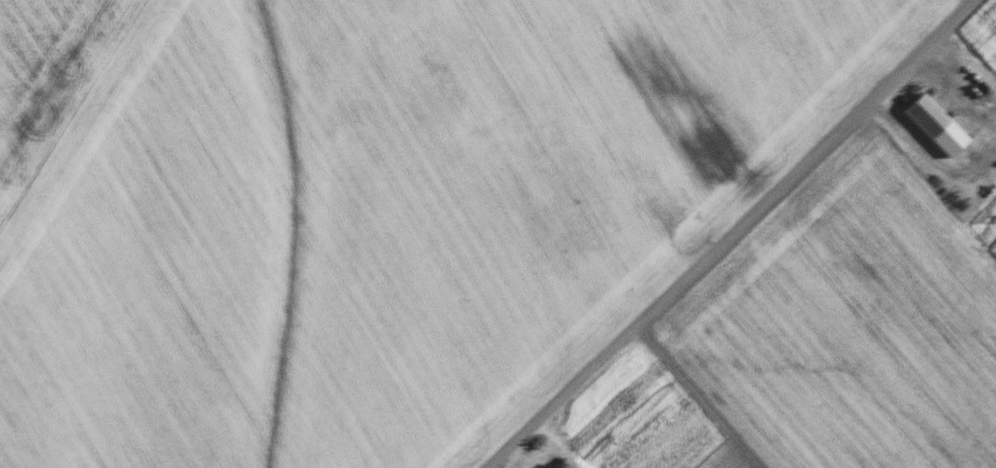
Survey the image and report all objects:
building: (934, 127)
road: (730, 234)

